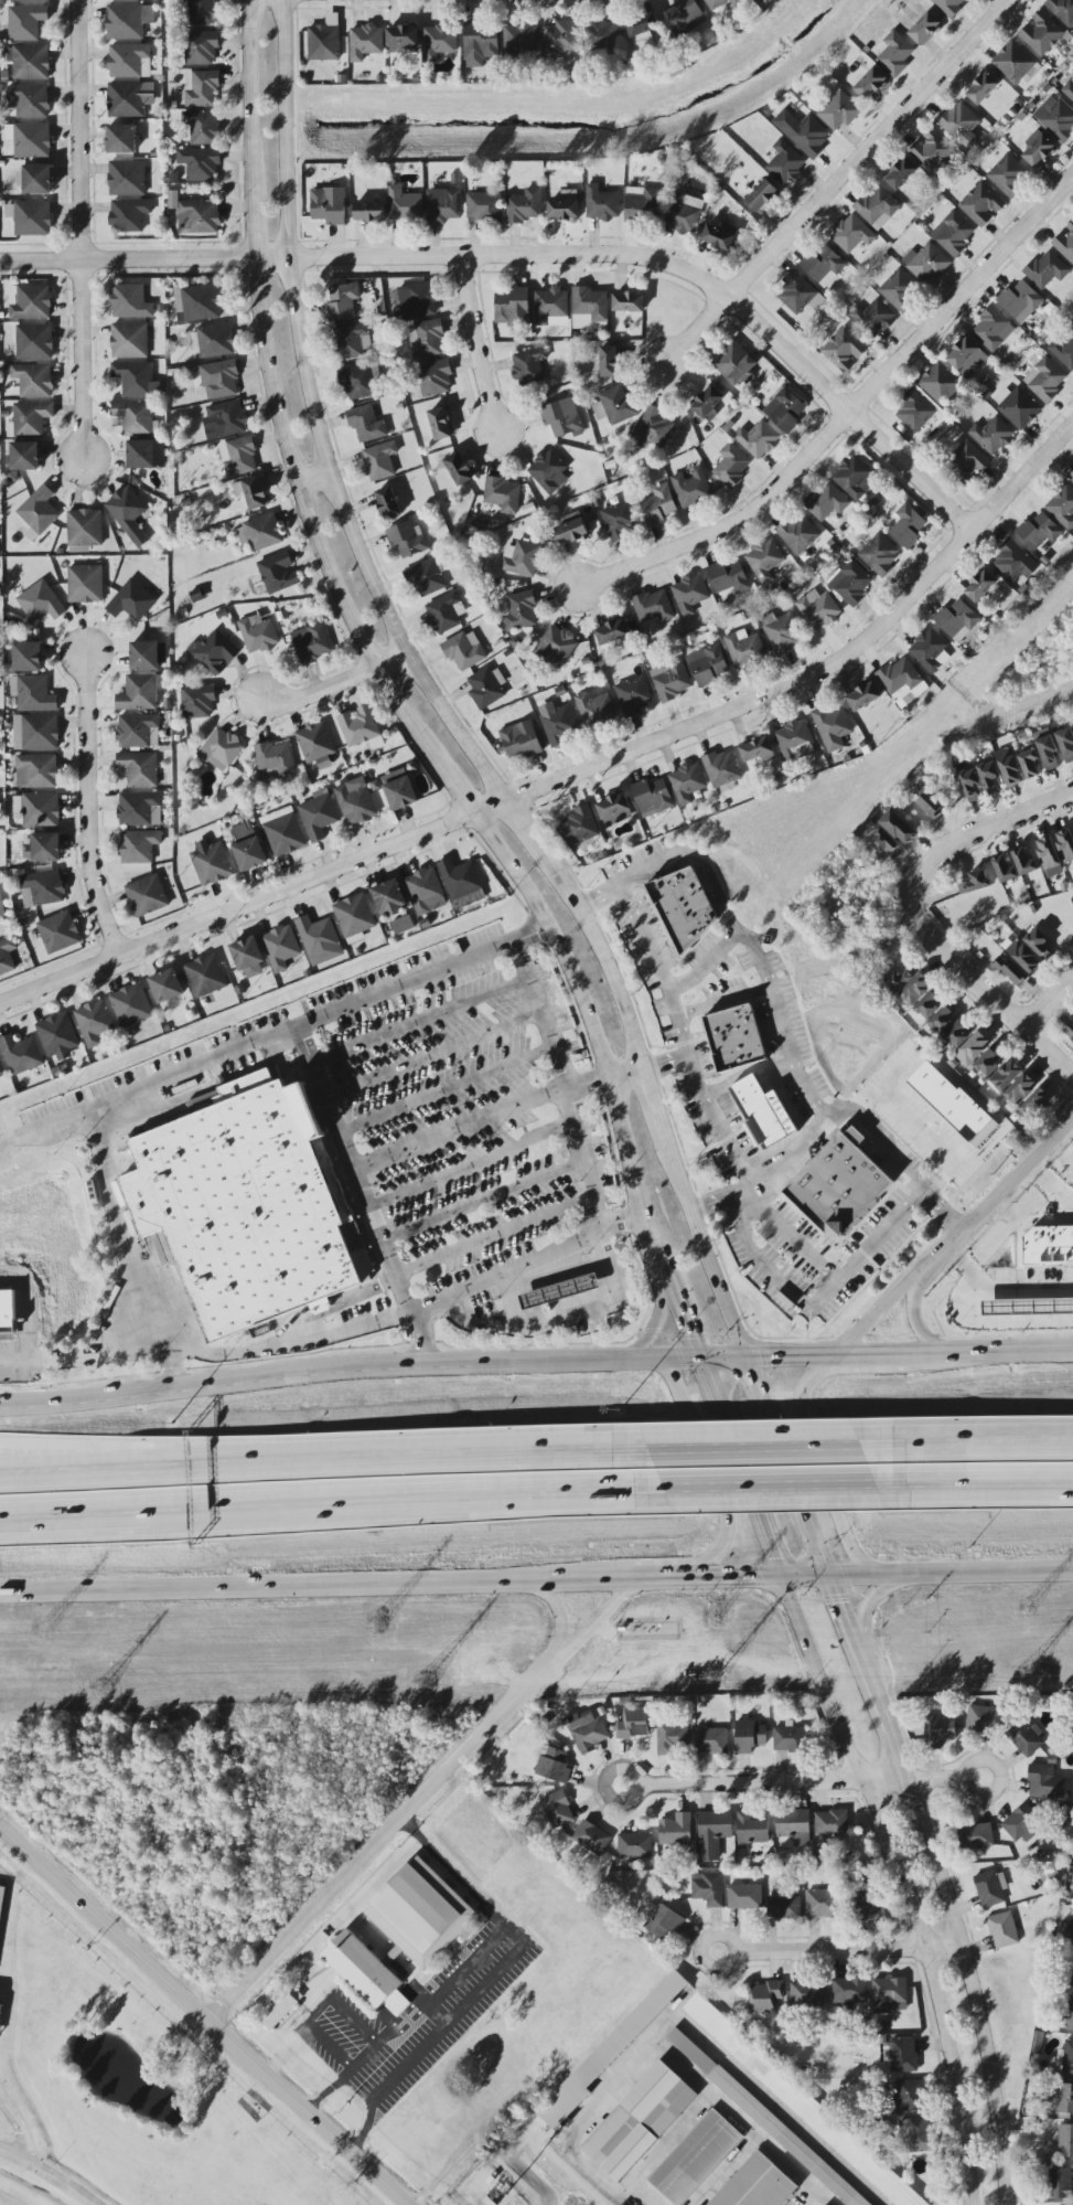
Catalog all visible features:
building: (29, 0)
building: (720, 3)
building: (947, 6)
building: (1063, 11)
building: (200, 12)
building: (684, 14)
building: (128, 21)
building: (25, 22)
building: (925, 29)
building: (1041, 33)
building: (602, 34)
building: (644, 34)
building: (560, 36)
building: (521, 39)
building: (401, 40)
building: (438, 41)
building: (365, 42)
building: (323, 43)
building: (480, 43)
building: (200, 47)
building: (895, 54)
building: (29, 61)
building: (129, 61)
building: (1015, 63)
building: (870, 83)
building: (201, 88)
building: (983, 88)
building: (1069, 92)
road: (253, 93)
building: (126, 99)
building: (29, 100)
building: (839, 110)
building: (1055, 117)
building: (958, 121)
building: (202, 127)
building: (803, 131)
building: (30, 139)
building: (121, 139)
building: (1037, 149)
building: (931, 150)
building: (785, 162)
building: (200, 163)
building: (901, 174)
building: (1007, 174)
building: (127, 178)
building: (35, 179)
road: (841, 181)
building: (762, 195)
building: (601, 203)
building: (642, 203)
building: (980, 204)
building: (329, 205)
building: (442, 205)
building: (404, 206)
building: (482, 206)
building: (524, 206)
building: (565, 206)
building: (877, 206)
building: (368, 212)
building: (683, 213)
building: (129, 215)
building: (31, 217)
building: (198, 217)
road: (251, 222)
road: (79, 224)
building: (953, 233)
building: (851, 234)
building: (720, 236)
building: (1065, 242)
road: (125, 258)
road: (663, 263)
building: (926, 263)
building: (824, 265)
building: (1047, 269)
building: (899, 289)
building: (798, 295)
building: (417, 300)
building: (130, 301)
building: (343, 301)
building: (627, 301)
building: (1020, 301)
building: (30, 302)
building: (197, 303)
building: (512, 307)
building: (551, 308)
building: (589, 308)
building: (872, 318)
building: (992, 329)
building: (427, 339)
building: (129, 340)
building: (213, 341)
building: (353, 341)
road: (483, 341)
building: (34, 342)
building: (844, 350)
building: (1065, 351)
building: (966, 358)
building: (611, 361)
building: (733, 362)
building: (528, 365)
building: (434, 377)
building: (219, 379)
building: (33, 380)
building: (136, 380)
building: (1045, 380)
building: (357, 383)
building: (940, 384)
building: (708, 404)
building: (614, 405)
building: (1018, 406)
building: (784, 411)
building: (914, 412)
building: (31, 417)
building: (136, 417)
road: (849, 417)
building: (562, 418)
building: (225, 419)
road: (318, 423)
building: (366, 424)
building: (440, 424)
building: (654, 429)
building: (992, 435)
building: (758, 439)
building: (146, 454)
building: (238, 456)
building: (24, 458)
building: (379, 461)
building: (967, 462)
building: (731, 466)
building: (459, 469)
building: (548, 471)
building: (855, 478)
building: (1071, 478)
road: (315, 482)
building: (691, 488)
building: (253, 492)
building: (503, 494)
building: (826, 502)
building: (387, 503)
building: (657, 505)
building: (1062, 507)
building: (39, 510)
building: (128, 513)
road: (311, 520)
building: (620, 520)
building: (908, 526)
building: (85, 528)
building: (1039, 530)
building: (262, 532)
building: (571, 532)
building: (797, 533)
building: (407, 539)
building: (879, 554)
building: (522, 558)
building: (764, 560)
building: (1013, 562)
building: (278, 573)
building: (426, 577)
building: (728, 577)
building: (850, 583)
building: (85, 584)
building: (980, 586)
building: (689, 594)
building: (131, 601)
building: (41, 603)
building: (654, 606)
building: (818, 609)
building: (519, 611)
building: (444, 612)
building: (956, 620)
building: (611, 632)
building: (782, 632)
building: (258, 635)
building: (312, 643)
building: (556, 646)
building: (744, 649)
building: (464, 650)
building: (930, 650)
building: (214, 652)
building: (144, 656)
building: (28, 657)
building: (708, 665)
road: (824, 668)
building: (670, 680)
road: (337, 681)
building: (902, 681)
building: (486, 688)
building: (141, 692)
building: (32, 694)
building: (863, 696)
building: (197, 702)
building: (595, 709)
building: (558, 723)
building: (358, 725)
building: (833, 726)
building: (138, 731)
building: (35, 733)
building: (521, 741)
building: (795, 741)
building: (316, 744)
building: (1065, 744)
building: (221, 749)
building: (757, 749)
building: (1049, 753)
building: (275, 760)
building: (1029, 765)
building: (1009, 767)
building: (721, 768)
building: (139, 769)
building: (36, 771)
building: (990, 778)
building: (687, 782)
building: (970, 786)
road: (454, 787)
building: (399, 789)
building: (652, 797)
building: (355, 801)
building: (931, 805)
building: (139, 809)
road: (490, 809)
building: (614, 809)
road: (87, 810)
building: (319, 814)
building: (580, 825)
road: (523, 828)
building: (898, 828)
building: (282, 832)
building: (1065, 844)
building: (886, 845)
building: (139, 846)
building: (248, 846)
building: (43, 848)
road: (372, 856)
building: (1049, 856)
building: (211, 862)
building: (1023, 862)
building: (1005, 870)
building: (460, 878)
road: (634, 881)
building: (973, 882)
building: (42, 888)
building: (425, 892)
road: (719, 893)
building: (147, 895)
building: (389, 897)
road: (253, 904)
building: (684, 906)
building: (2, 909)
building: (354, 917)
road: (919, 918)
building: (58, 931)
building: (316, 936)
building: (1038, 942)
building: (280, 947)
building: (7, 956)
road: (117, 957)
road: (602, 957)
building: (1023, 957)
building: (248, 958)
road: (706, 962)
building: (1010, 970)
building: (205, 976)
building: (167, 986)
building: (913, 990)
road: (723, 1001)
building: (131, 1005)
road: (1052, 1006)
building: (945, 1019)
building: (94, 1022)
road: (419, 1022)
road: (782, 1026)
road: (592, 1032)
building: (1070, 1032)
road: (280, 1033)
building: (958, 1033)
building: (58, 1037)
building: (734, 1038)
building: (973, 1048)
building: (21, 1054)
road: (432, 1056)
building: (989, 1061)
road: (666, 1064)
building: (1, 1072)
road: (625, 1074)
building: (1006, 1075)
road: (566, 1080)
road: (589, 1083)
building: (1020, 1088)
road: (446, 1089)
road: (651, 1097)
road: (705, 1098)
building: (1034, 1102)
building: (762, 1112)
road: (921, 1121)
road: (1071, 1127)
road: (461, 1128)
road: (793, 1151)
road: (473, 1164)
road: (908, 1172)
road: (1051, 1185)
building: (839, 1187)
road: (364, 1199)
road: (484, 1199)
road: (995, 1199)
building: (251, 1208)
road: (882, 1232)
road: (495, 1234)
road: (700, 1240)
building: (1049, 1245)
road: (128, 1250)
road: (759, 1260)
road: (1000, 1290)
building: (560, 1292)
gas station: (560, 1292)
building: (1027, 1307)
road: (410, 1313)
road: (558, 1315)
road: (878, 1317)
road: (913, 1317)
road: (654, 1319)
traffic signals: (686, 1330)
road: (689, 1338)
road: (990, 1352)
road: (104, 1355)
road: (873, 1355)
traffic signals: (770, 1357)
road: (418, 1373)
traffic signals: (754, 1382)
road: (975, 1451)
road: (782, 1453)
road: (757, 1455)
road: (705, 1462)
road: (412, 1466)
road: (94, 1468)
road: (827, 1477)
road: (94, 1478)
road: (752, 1482)
road: (973, 1482)
road: (749, 1490)
road: (315, 1493)
road: (107, 1510)
traffic signals: (773, 1555)
road: (824, 1563)
road: (951, 1573)
road: (730, 1576)
traffic signals: (752, 1576)
road: (805, 1576)
road: (653, 1577)
road: (312, 1586)
road: (873, 1596)
road: (841, 1604)
traffic signals: (841, 1604)
power tower: (1031, 1609)
road: (566, 1613)
power tower: (719, 1613)
road: (600, 1620)
power tower: (383, 1621)
power tower: (44, 1627)
road: (805, 1637)
road: (860, 1648)
power tower: (1030, 1665)
power tower: (713, 1670)
power tower: (419, 1677)
power tower: (100, 1687)
building: (983, 1718)
road: (886, 1721)
building: (634, 1723)
building: (937, 1732)
building: (587, 1733)
building: (749, 1736)
building: (1026, 1737)
building: (672, 1738)
building: (788, 1738)
building: (711, 1740)
building: (552, 1765)
road: (965, 1769)
road: (640, 1776)
road: (804, 1780)
building: (1045, 1781)
building: (557, 1810)
building: (1019, 1821)
building: (830, 1824)
building: (794, 1826)
building: (676, 1830)
building: (751, 1830)
building: (712, 1834)
building: (976, 1836)
building: (591, 1837)
road: (383, 1842)
building: (634, 1845)
building: (990, 1888)
building: (708, 1889)
building: (744, 1896)
building: (1072, 1899)
building: (1, 1900)
building: (822, 1904)
building: (867, 1904)
building: (783, 1907)
building: (420, 1913)
building: (663, 1921)
building: (1002, 1930)
building: (1070, 1935)
road: (925, 1943)
road: (732, 1948)
road: (847, 1951)
building: (391, 1956)
building: (366, 1973)
road: (490, 1980)
road: (443, 1983)
building: (1072, 1983)
road: (970, 1988)
building: (849, 1992)
building: (807, 1994)
building: (889, 1995)
building: (765, 1998)
building: (281, 2007)
road: (319, 2009)
building: (0, 2012)
road: (437, 2012)
building: (1070, 2014)
road: (203, 2018)
building: (609, 2052)
building: (903, 2055)
building: (1066, 2058)
road: (620, 2065)
road: (342, 2076)
park: (122, 2091)
building: (1050, 2095)
building: (908, 2096)
road: (0, 2098)
building: (1063, 2098)
building: (801, 2103)
road: (773, 2109)
building: (764, 2119)
road: (740, 2120)
building: (639, 2121)
road: (17, 2127)
building: (913, 2133)
building: (1064, 2140)
road: (668, 2141)
building: (695, 2158)
road: (723, 2170)
road: (47, 2175)
building: (1061, 2183)
road: (602, 2184)
building: (757, 2184)
road: (811, 2197)
building: (621, 2204)

